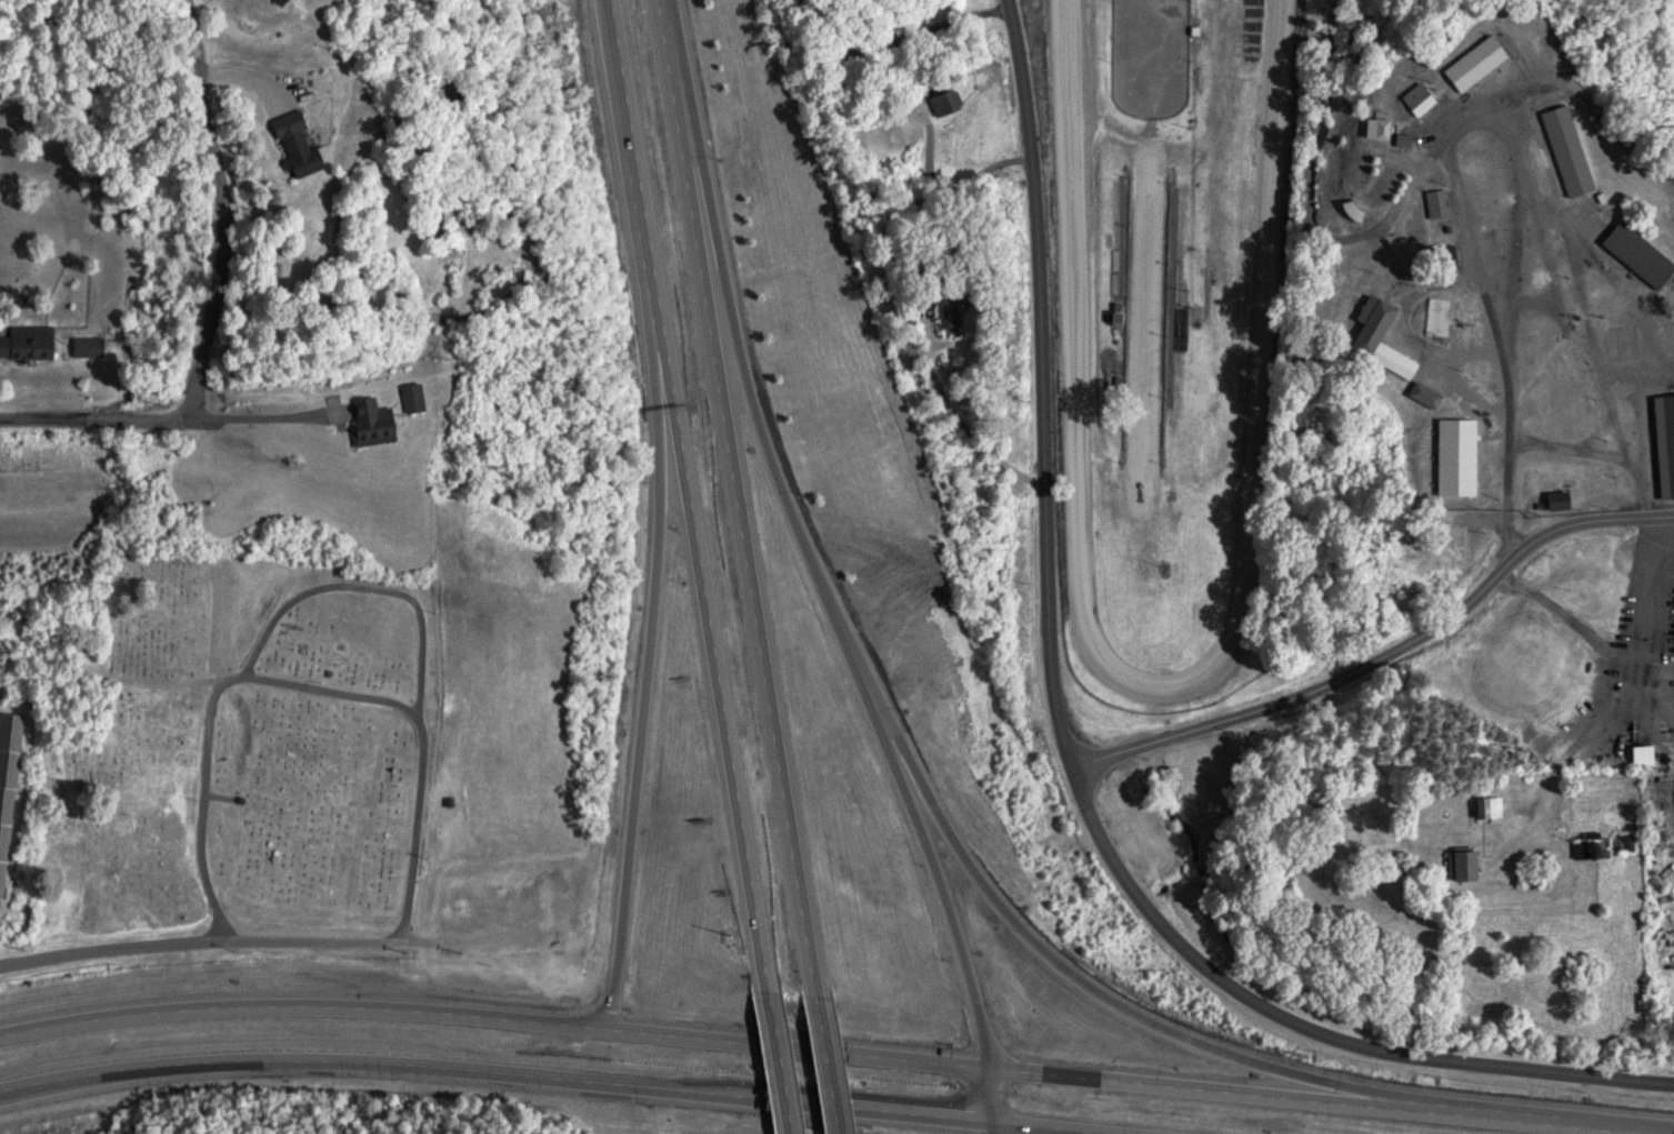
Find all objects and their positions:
building: (269, 1)
building: (1470, 62)
building: (1413, 99)
building: (939, 101)
road: (688, 126)
building: (1371, 128)
building: (287, 143)
building: (1563, 150)
building: (1434, 202)
road: (222, 209)
road: (1465, 210)
building: (1634, 254)
building: (1439, 258)
building: (1673, 281)
building: (1436, 311)
building: (1375, 338)
building: (26, 341)
building: (86, 347)
building: (1422, 394)
building: (408, 397)
road: (94, 417)
building: (367, 421)
building: (1667, 440)
road: (695, 496)
building: (1555, 500)
road: (1586, 521)
building: (1449, 545)
road: (1562, 619)
road: (769, 626)
road: (300, 682)
road: (1633, 685)
road: (1305, 690)
road: (650, 693)
park: (304, 729)
road: (1064, 747)
building: (1627, 747)
building: (7, 775)
building: (1486, 806)
road: (923, 807)
building: (1461, 864)
building: (477, 899)
road: (959, 916)
road: (199, 941)
road: (497, 1015)
road: (785, 1064)
road: (839, 1067)
road: (544, 1077)
road: (1204, 1084)
road: (995, 1098)
road: (1543, 1117)

